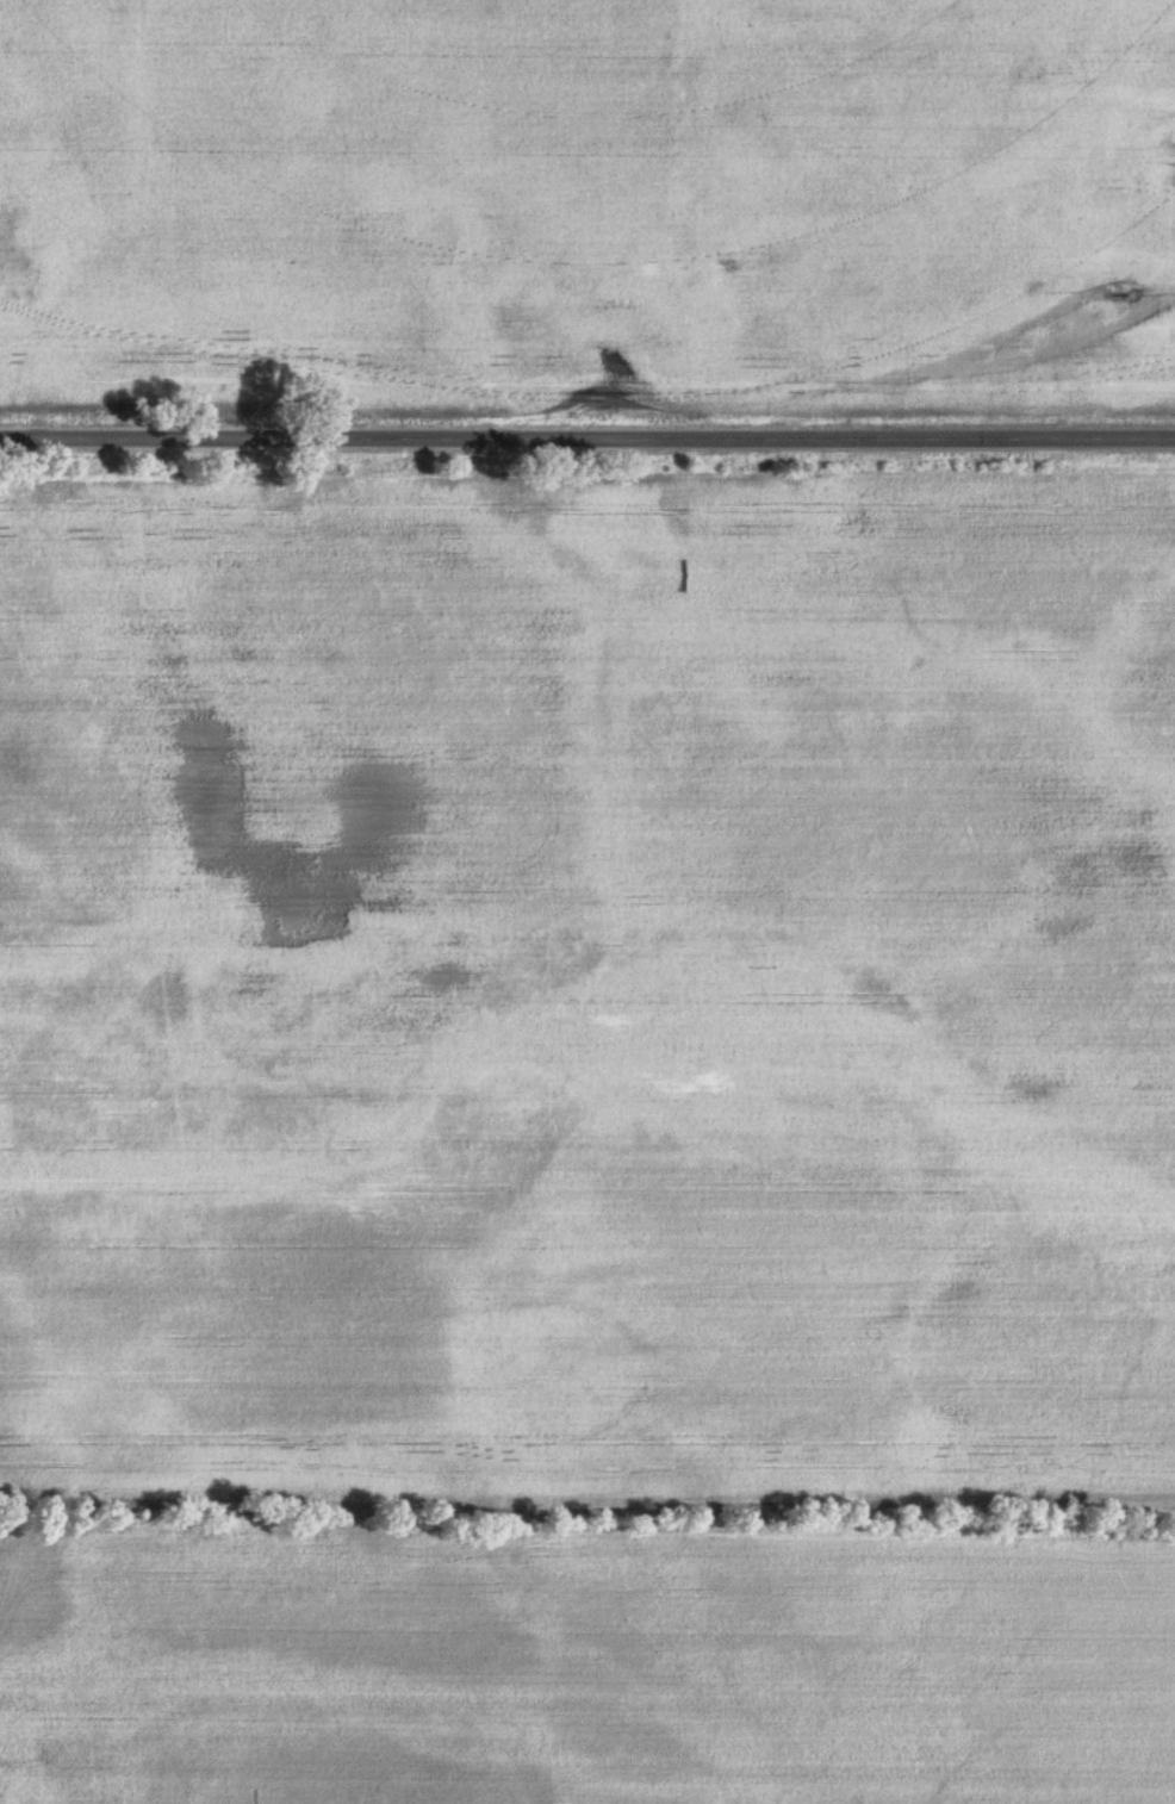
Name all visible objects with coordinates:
road: (587, 438)

